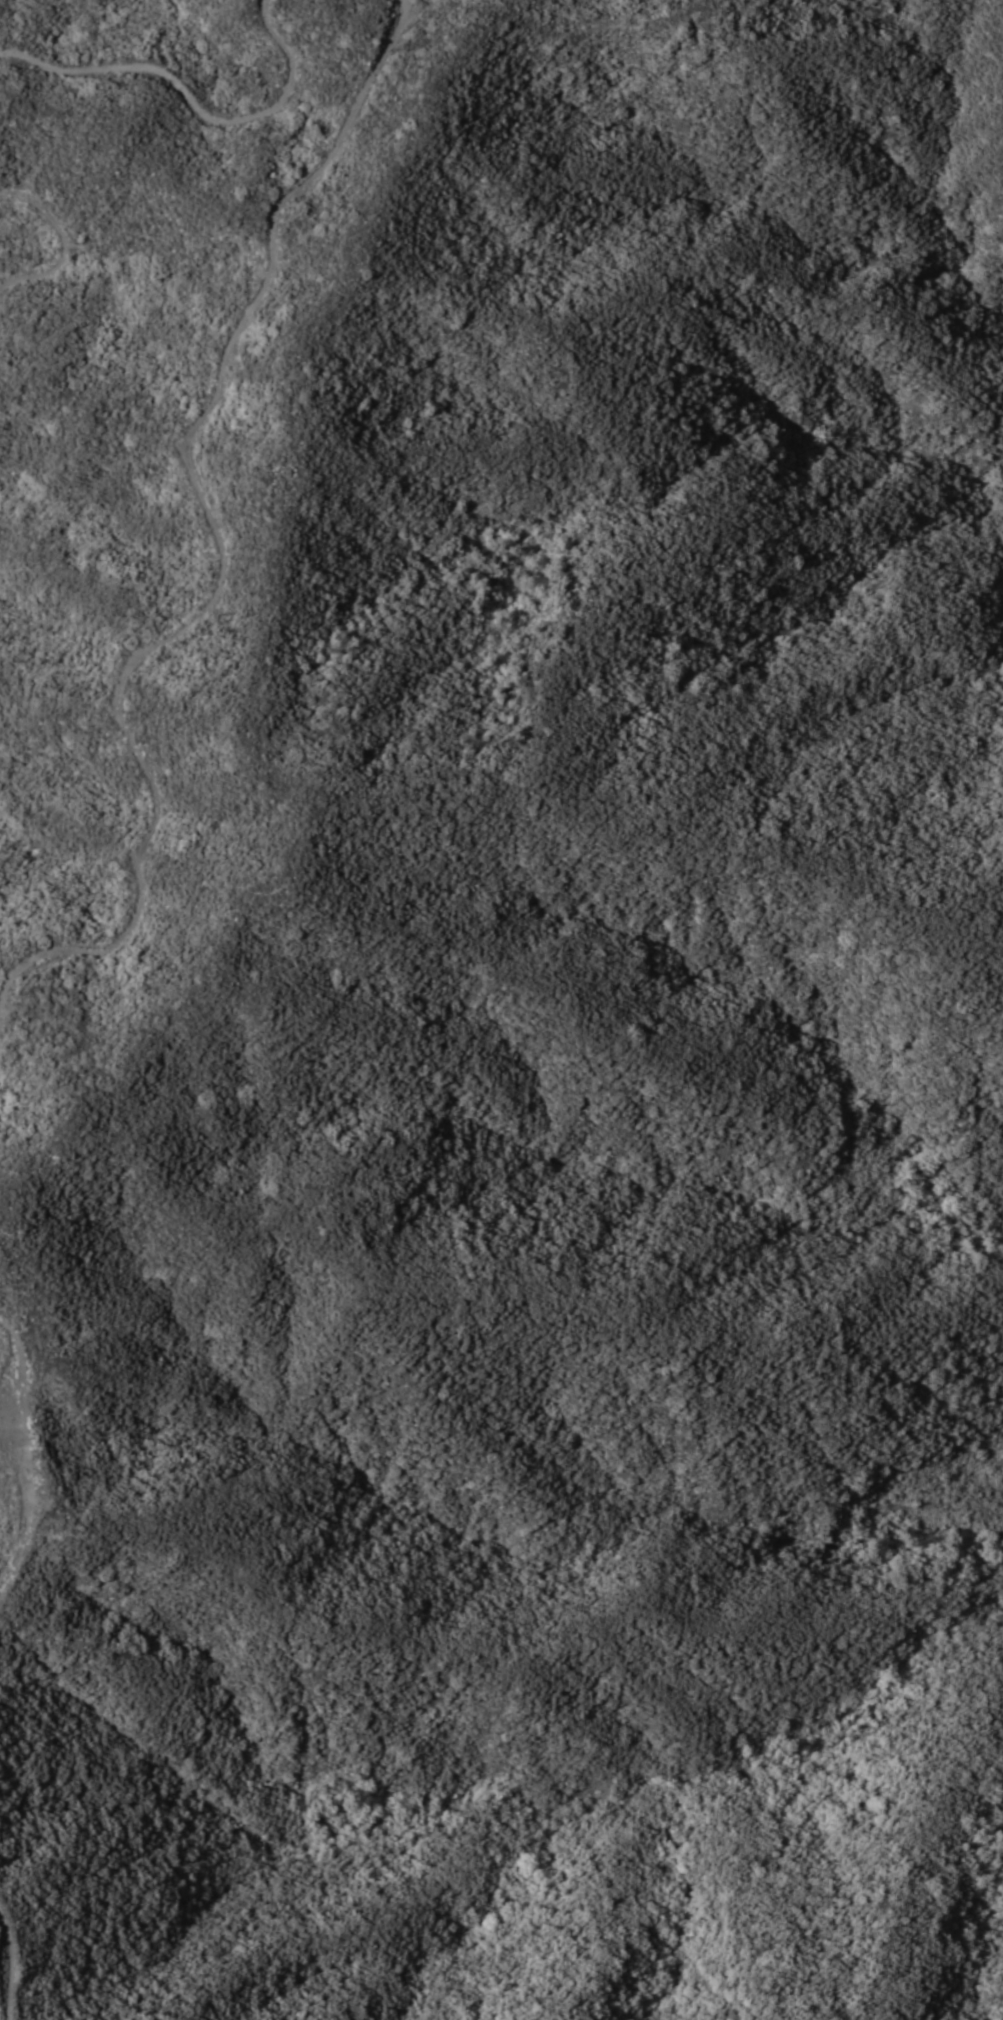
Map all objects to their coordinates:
road: (195, 111)
road: (61, 241)
road: (216, 533)
road: (27, 1452)
road: (8, 1966)

